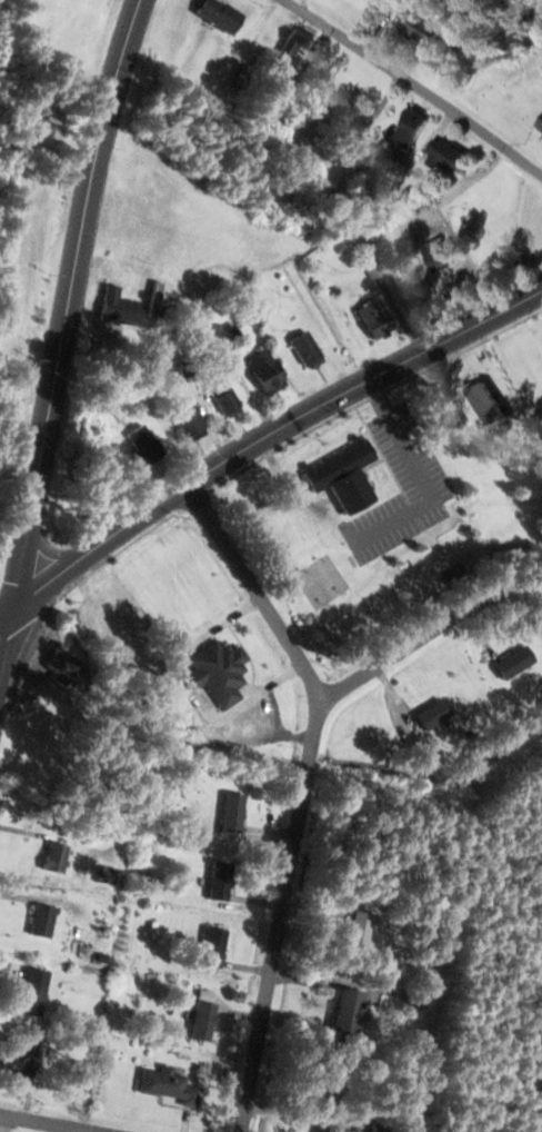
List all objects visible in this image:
building: (222, 14)
building: (272, 24)
building: (424, 27)
building: (297, 42)
building: (335, 62)
road: (415, 87)
building: (541, 125)
building: (414, 126)
building: (452, 157)
building: (439, 255)
building: (122, 307)
building: (378, 318)
road: (61, 340)
building: (309, 349)
building: (270, 371)
building: (227, 398)
building: (484, 403)
building: (191, 421)
road: (269, 430)
building: (147, 441)
building: (345, 476)
road: (7, 609)
building: (131, 639)
road: (397, 654)
building: (516, 662)
building: (220, 672)
building: (435, 714)
road: (302, 790)
building: (235, 813)
building: (59, 856)
building: (222, 882)
building: (46, 920)
building: (363, 931)
building: (217, 947)
building: (36, 992)
building: (353, 1011)
building: (207, 1017)
building: (24, 1056)
building: (170, 1084)
road: (46, 1123)
building: (330, 1126)

